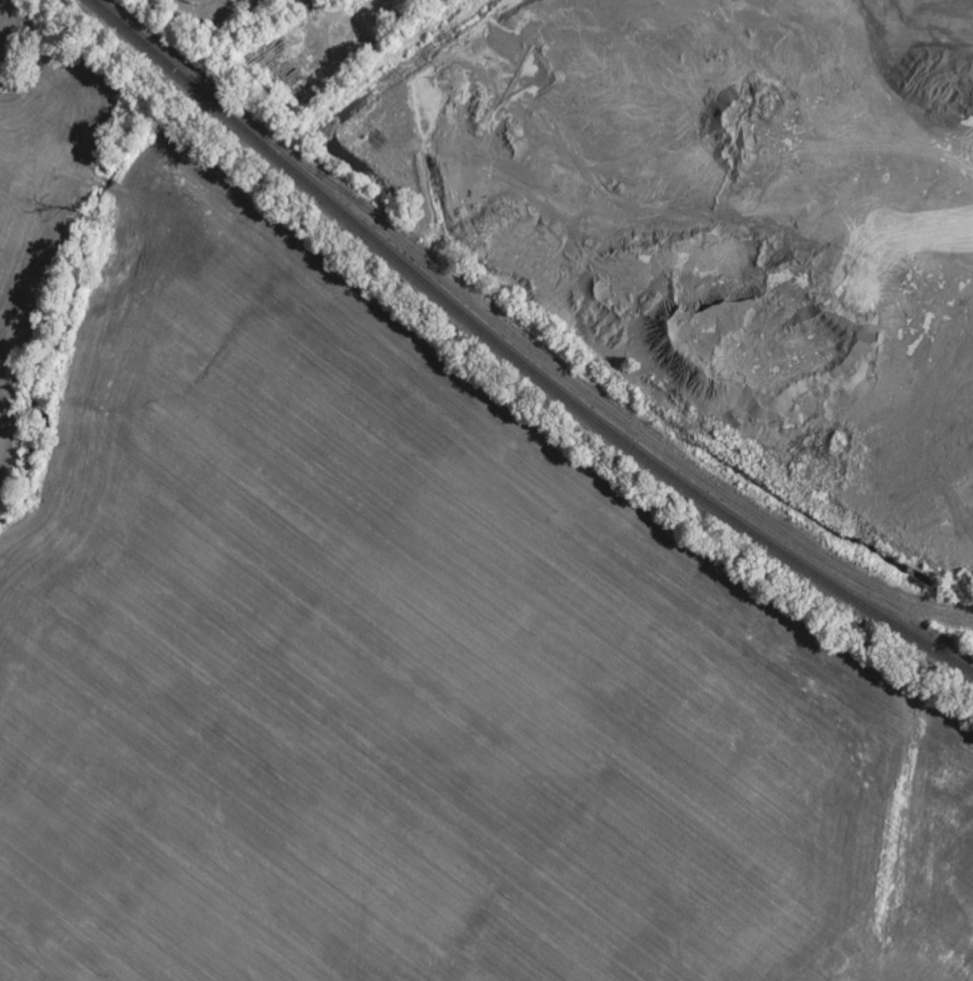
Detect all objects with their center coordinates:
railway: (519, 347)
railway: (517, 356)
railway: (610, 398)
railway: (628, 422)
railway: (961, 605)

